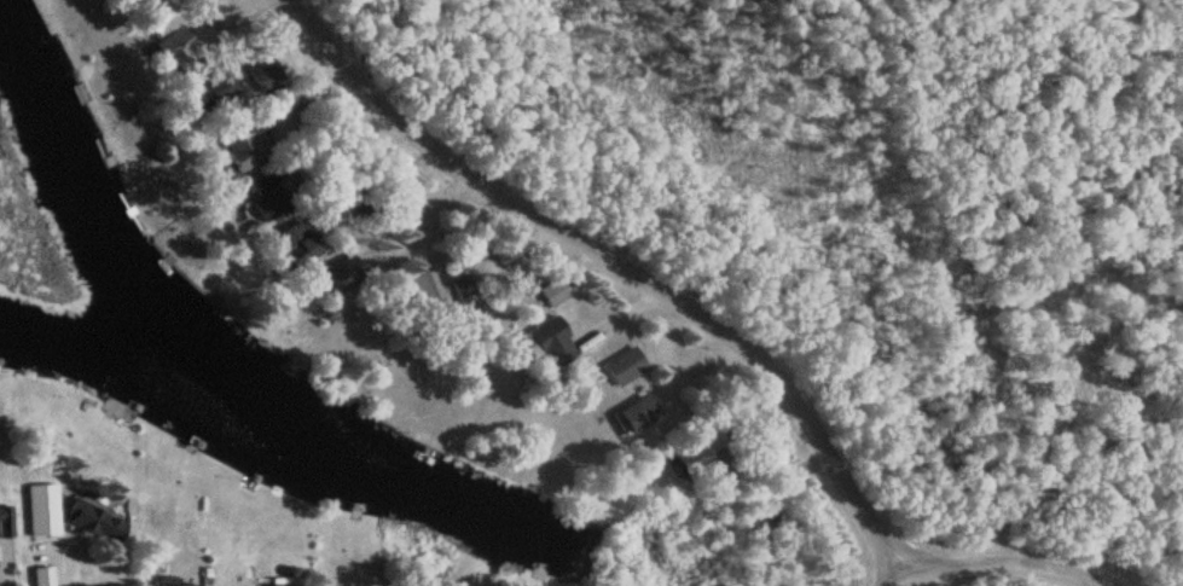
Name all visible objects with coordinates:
building: (267, 76)
building: (218, 89)
building: (251, 146)
building: (274, 195)
building: (289, 237)
road: (628, 262)
building: (552, 343)
building: (627, 367)
building: (642, 416)
building: (695, 466)
building: (100, 521)
building: (4, 522)
building: (46, 524)
road: (991, 563)
building: (288, 582)

